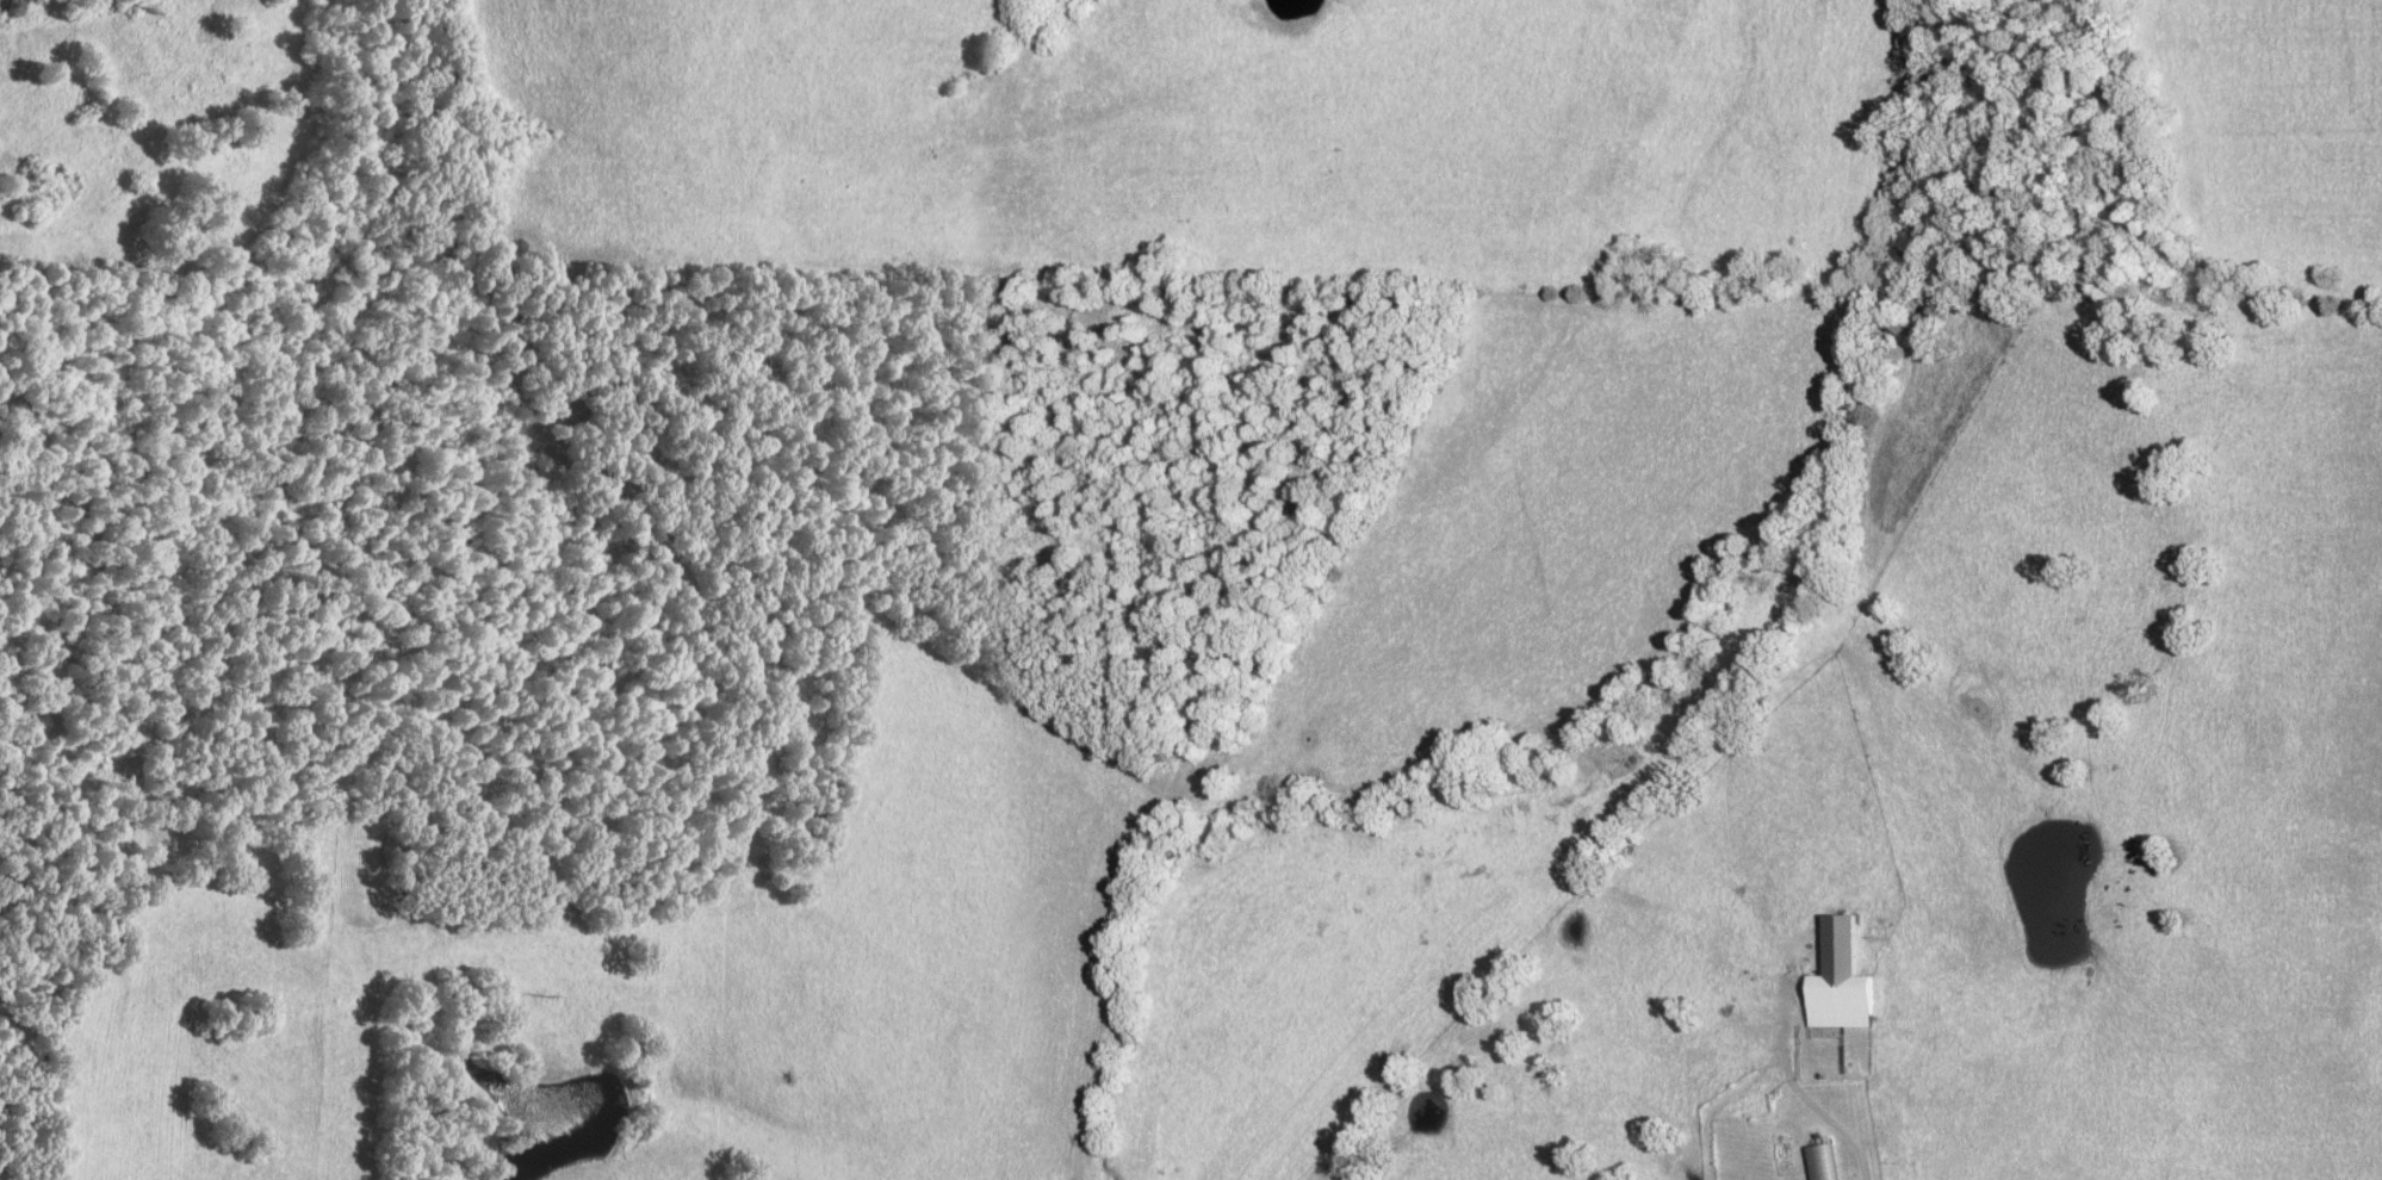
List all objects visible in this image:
building: (1831, 982)
road: (1842, 1142)
building: (1817, 1163)

